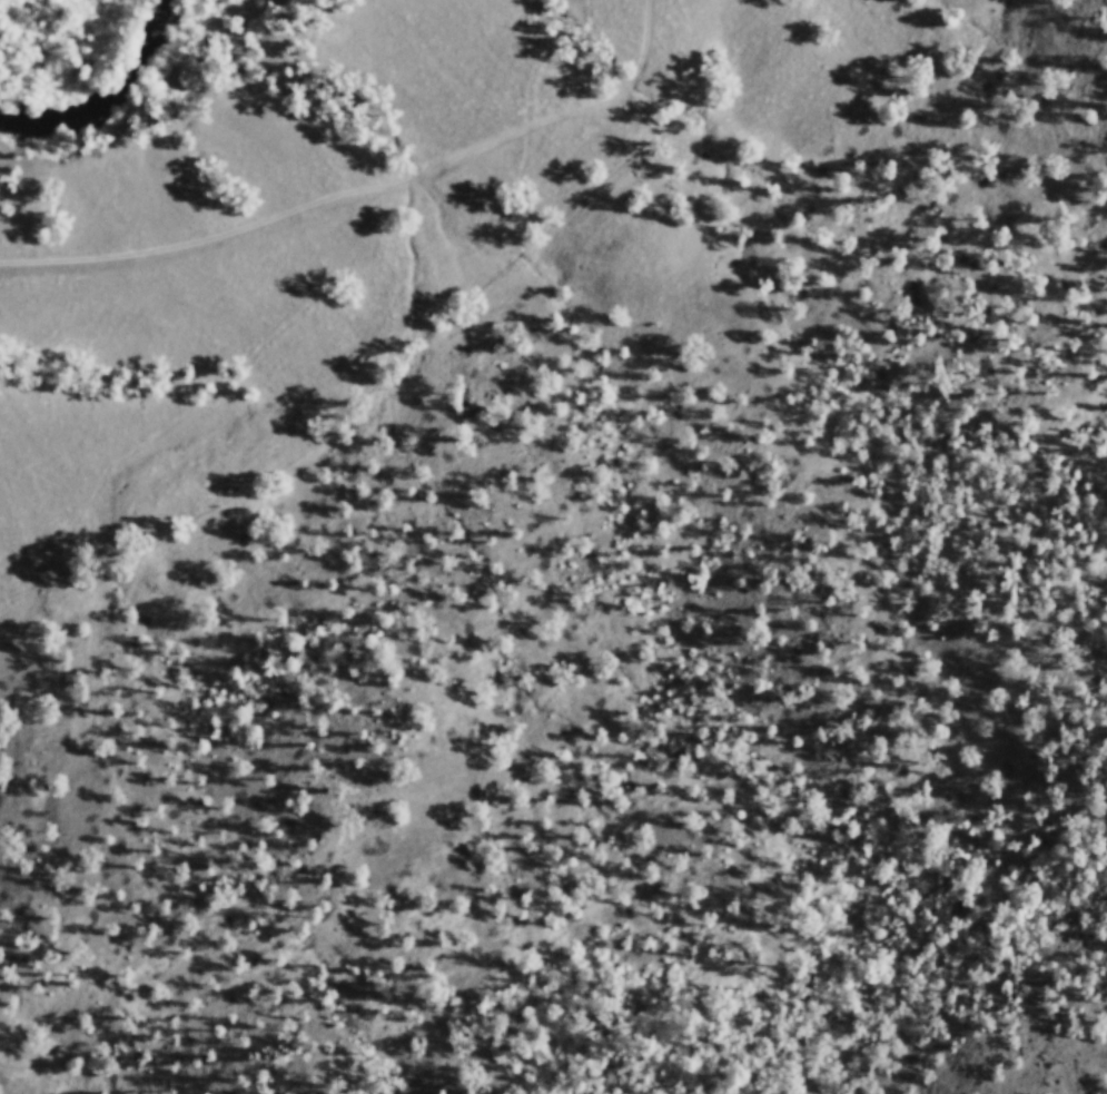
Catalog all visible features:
river: (112, 98)
road: (368, 193)

